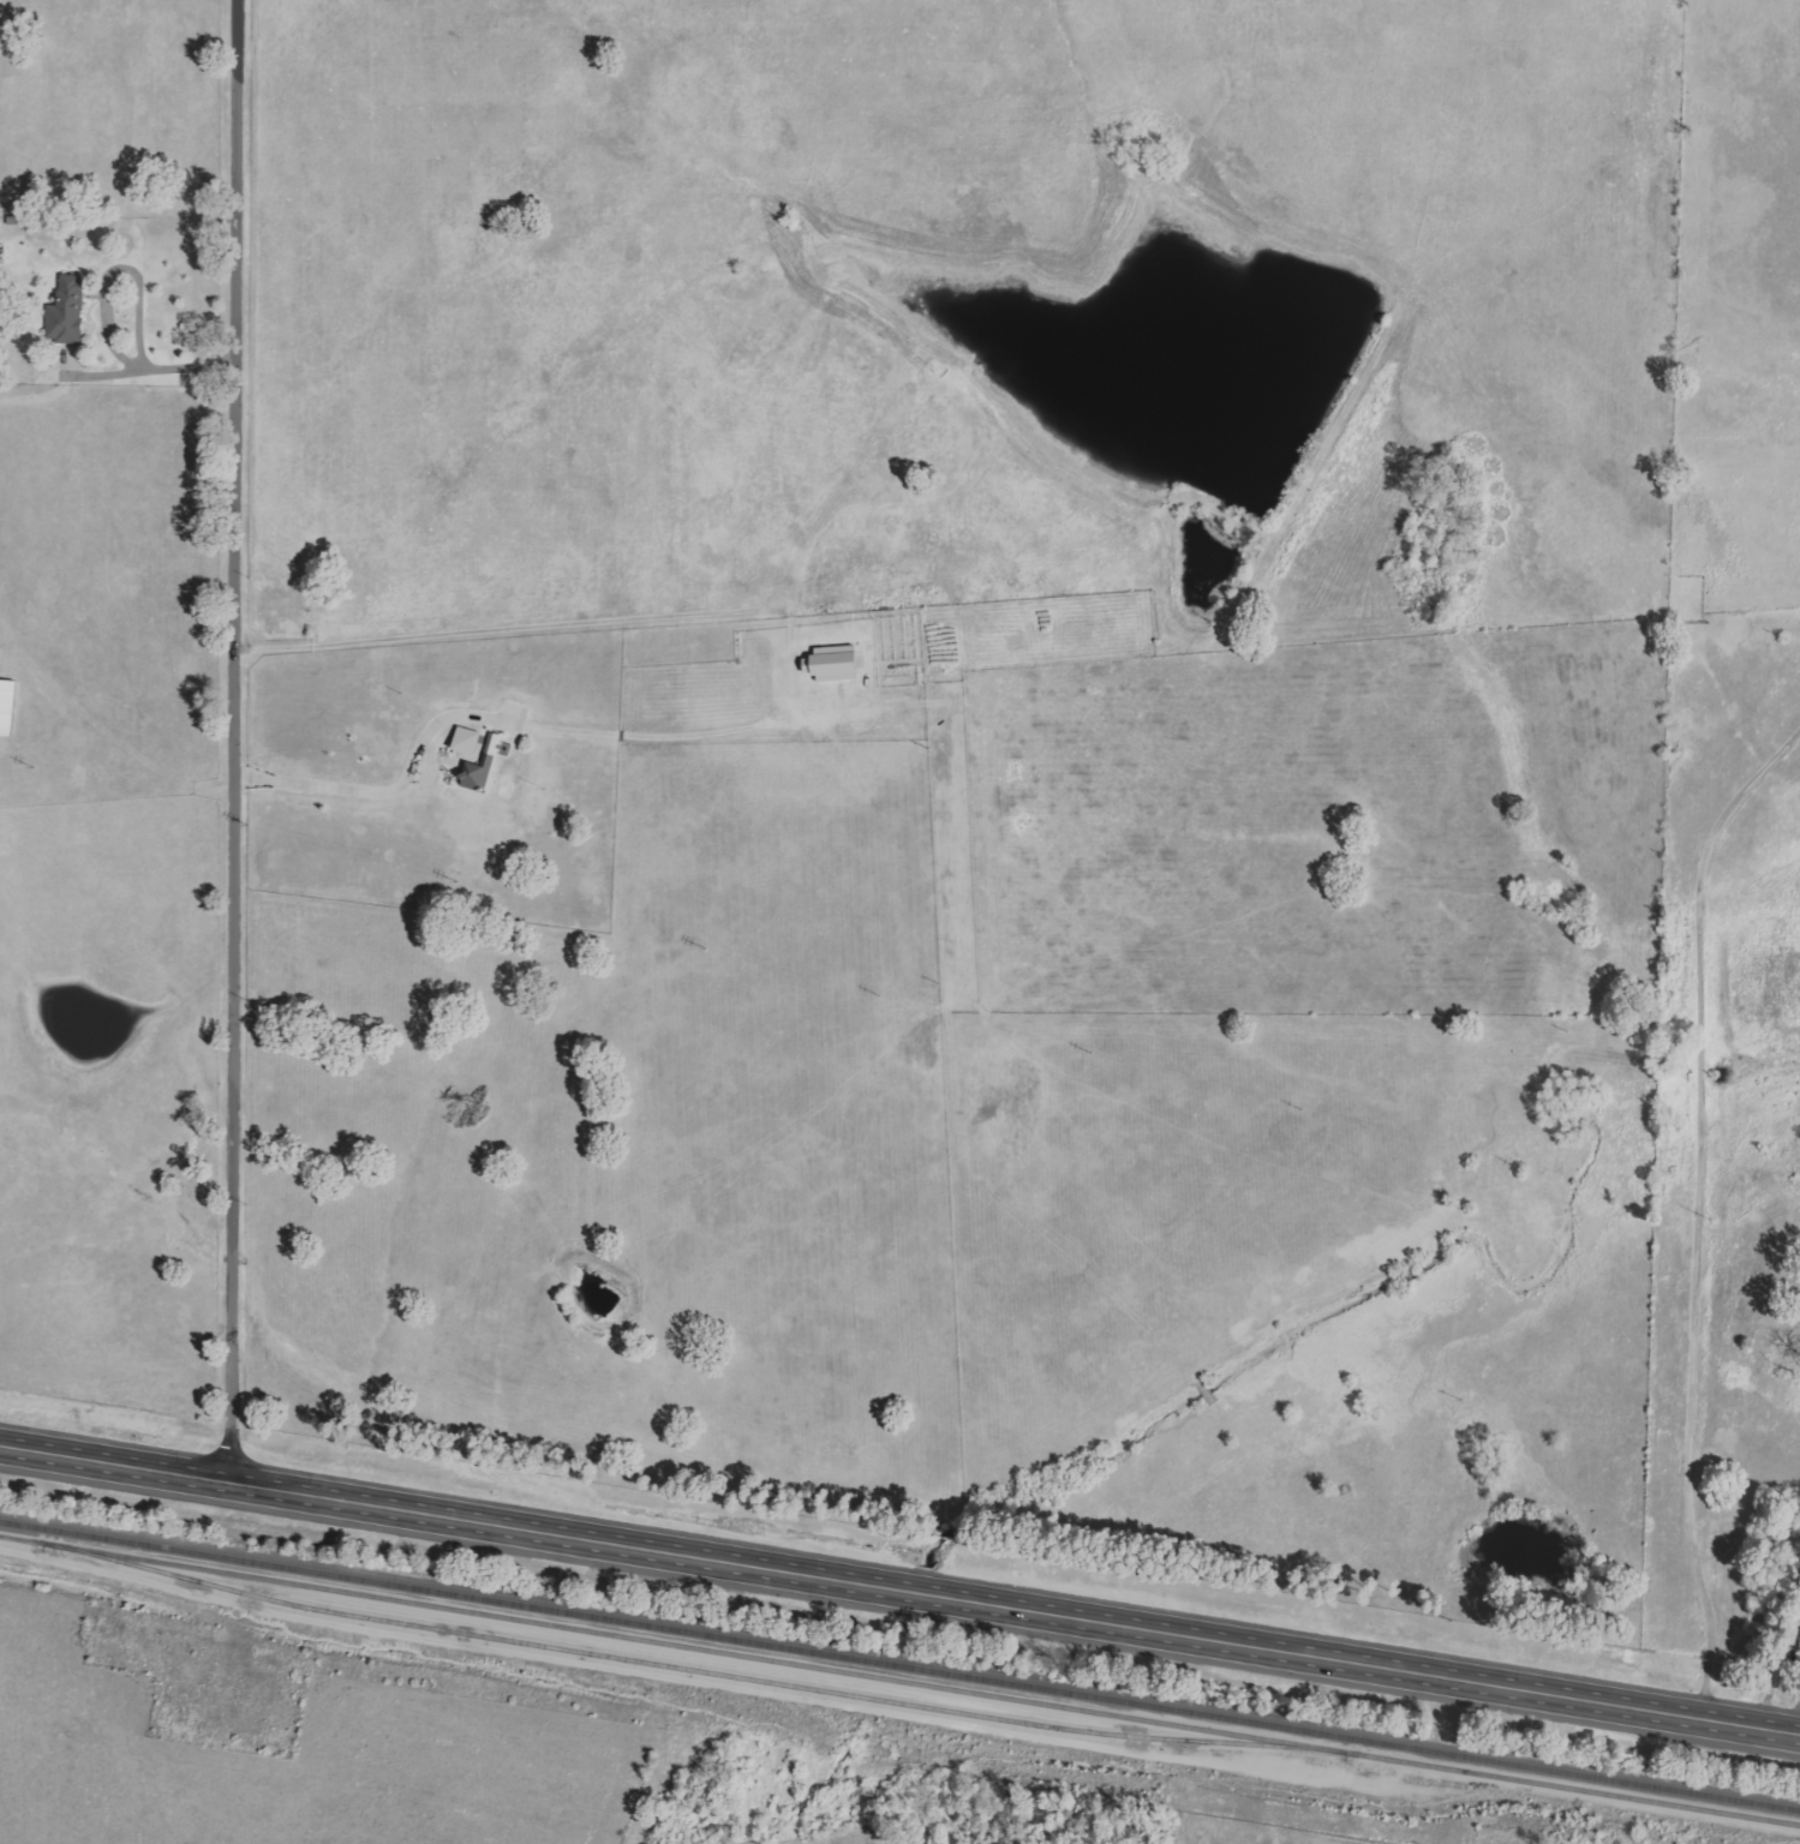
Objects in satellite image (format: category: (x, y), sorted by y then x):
road: (124, 271)
building: (70, 312)
road: (153, 371)
road: (492, 627)
power tower: (1780, 640)
building: (8, 707)
road: (234, 740)
building: (470, 741)
road: (388, 785)
power tower: (1656, 860)
power tower: (1555, 1034)
power tower: (1458, 1208)
road: (1700, 1214)
road: (899, 1589)
power tower: (1433, 1620)
railway: (899, 1666)
railway: (695, 1670)
railway: (899, 1681)
power tower: (1428, 1792)

